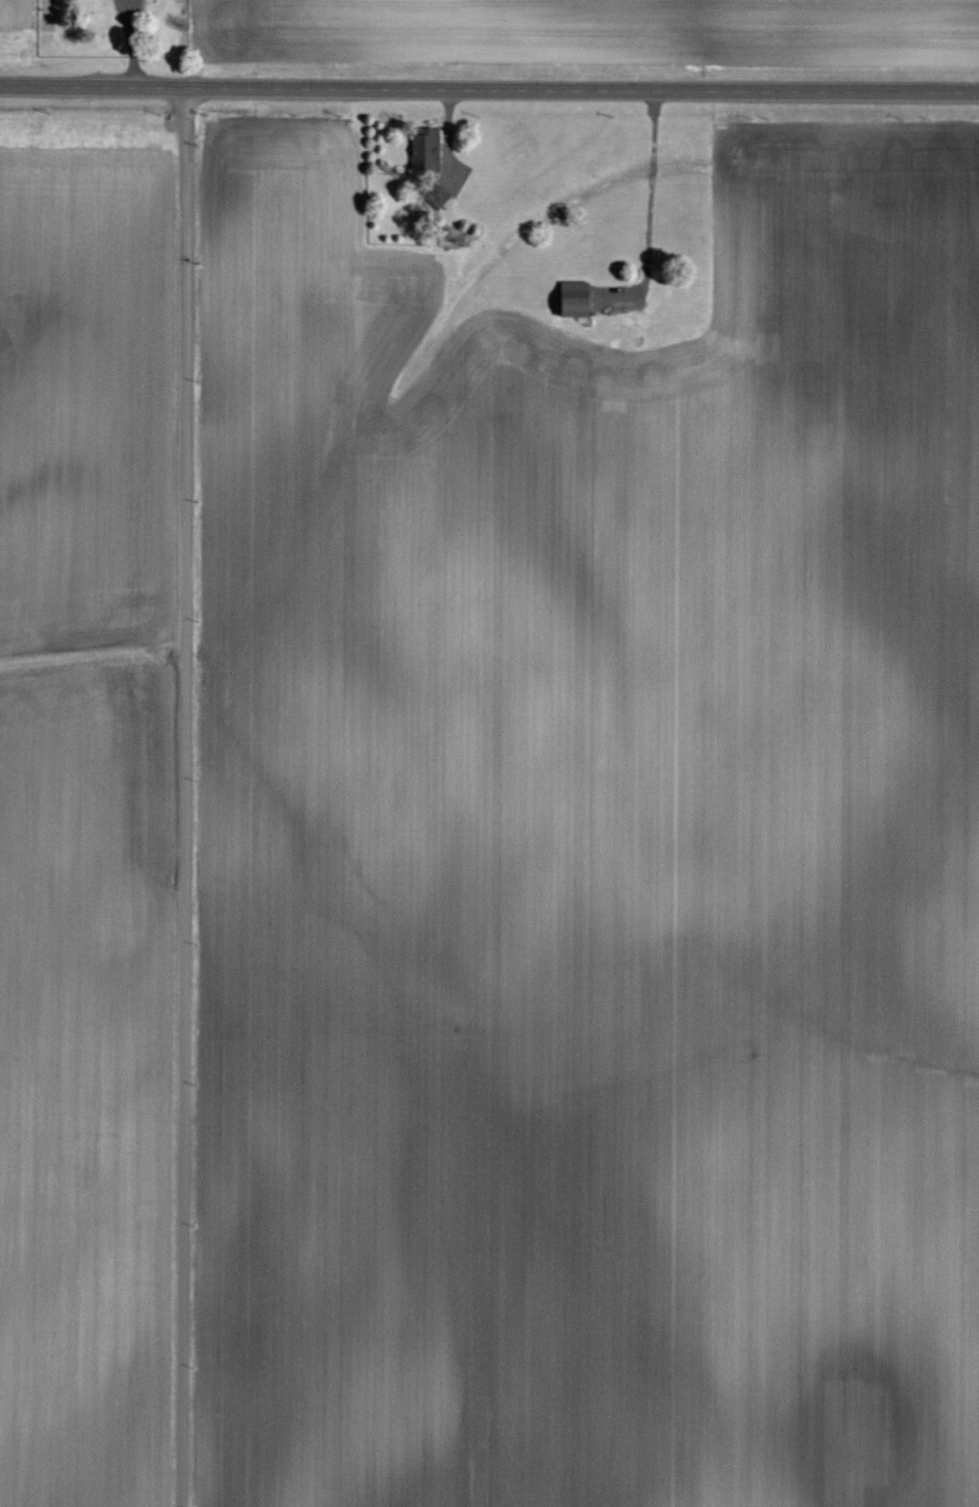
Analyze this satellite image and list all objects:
road: (489, 90)
building: (422, 145)
building: (435, 197)
road: (648, 211)
building: (570, 299)
road: (182, 797)

